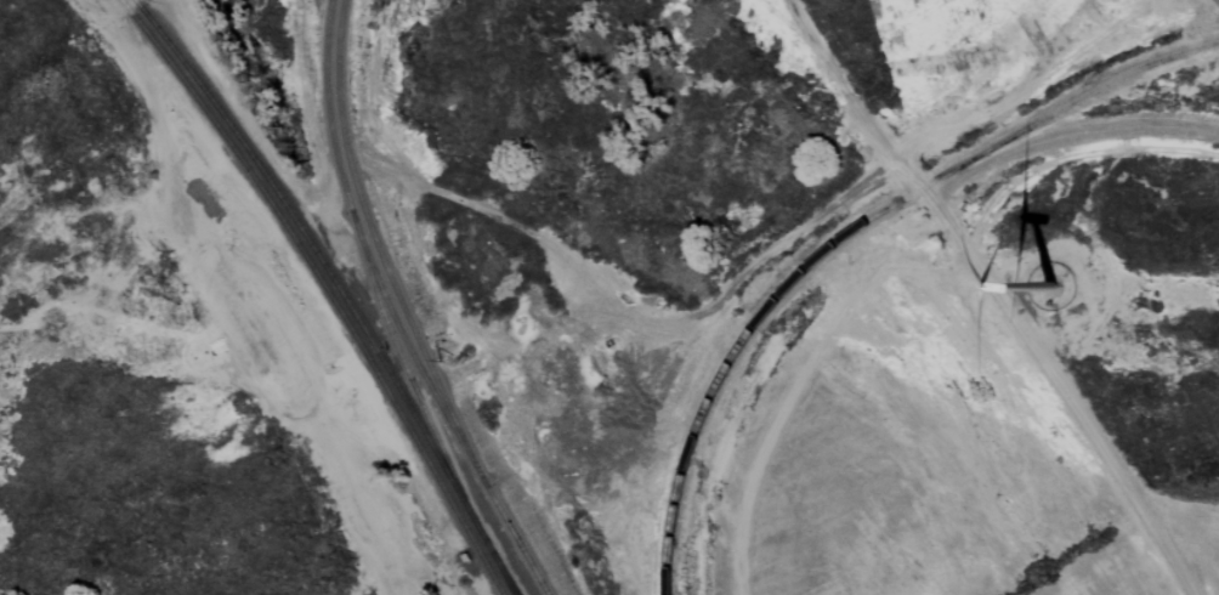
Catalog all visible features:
railway: (266, 175)
railway: (254, 177)
railway: (837, 240)
railway: (372, 279)
wind turbine: (1050, 287)
road: (994, 294)
railway: (401, 308)
road: (688, 327)
railway: (410, 355)
railway: (389, 372)
railway: (379, 376)
road: (374, 484)
railway: (455, 488)
railway: (444, 491)
railway: (504, 573)

